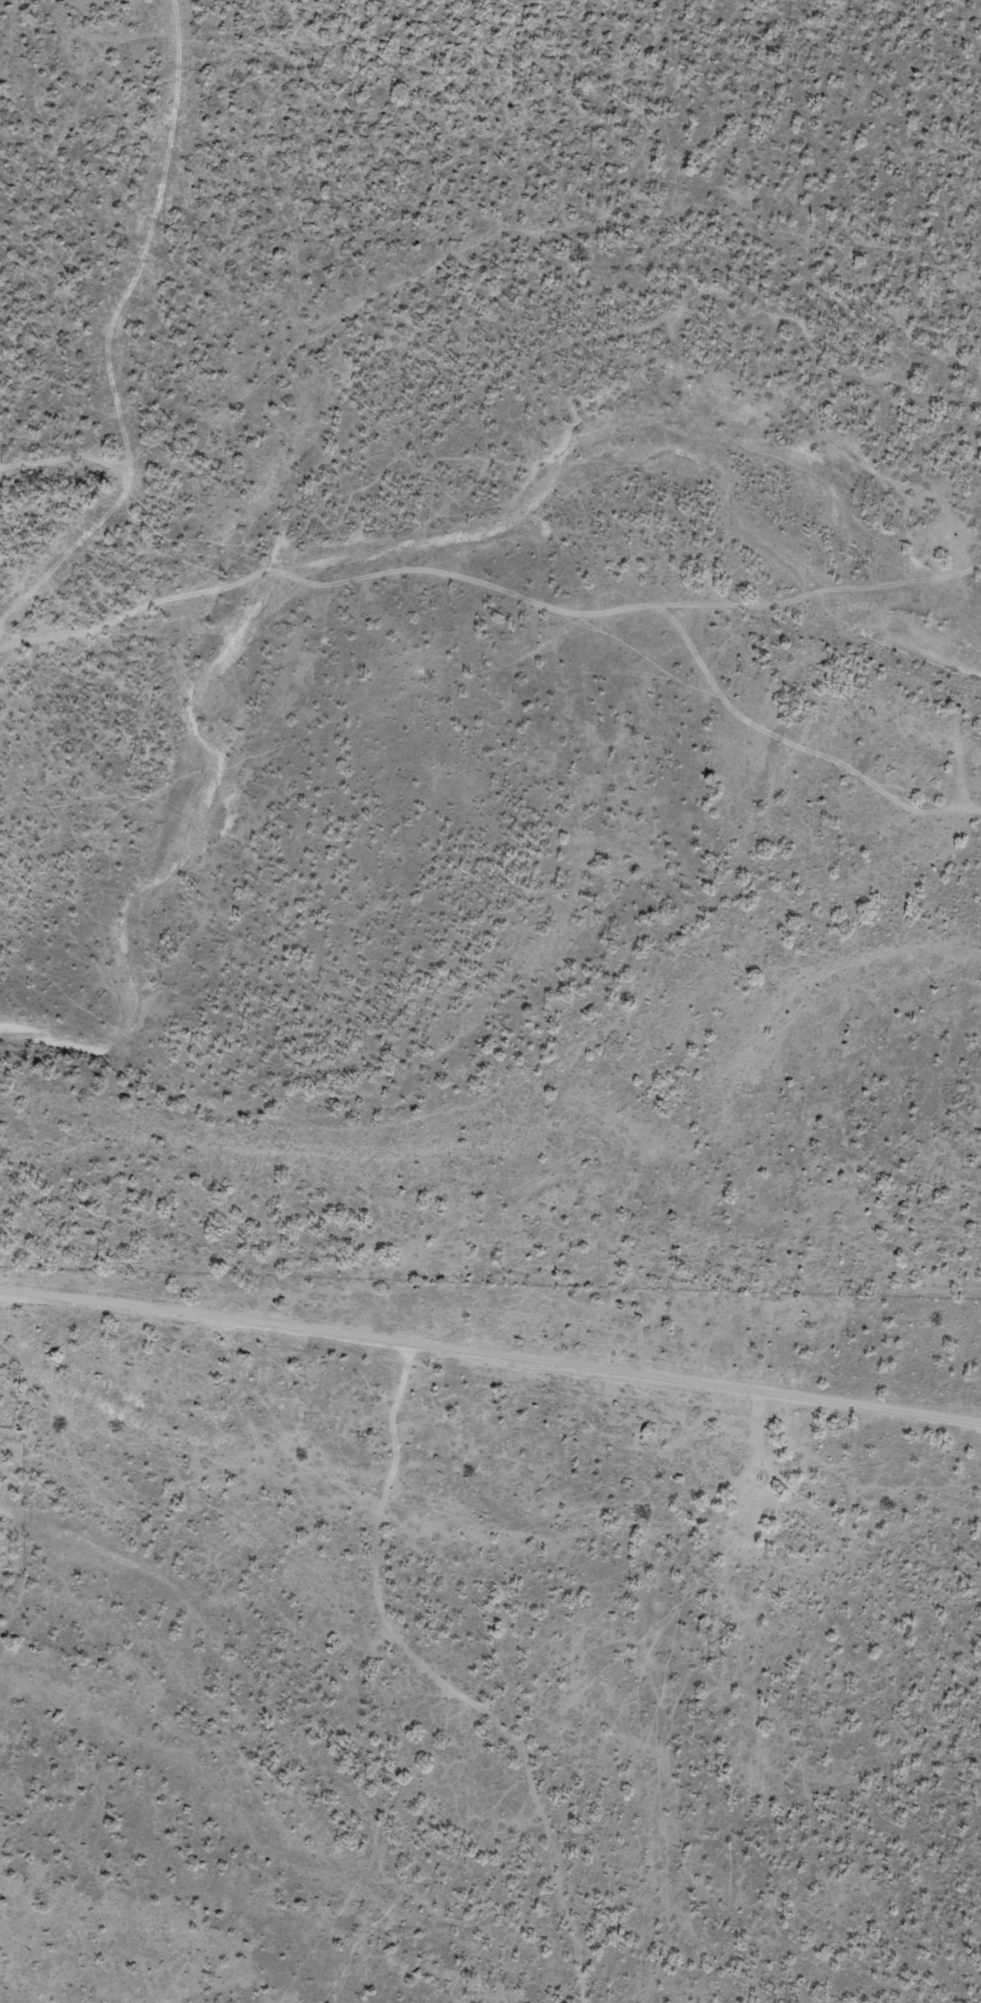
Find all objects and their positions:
road: (490, 1346)

